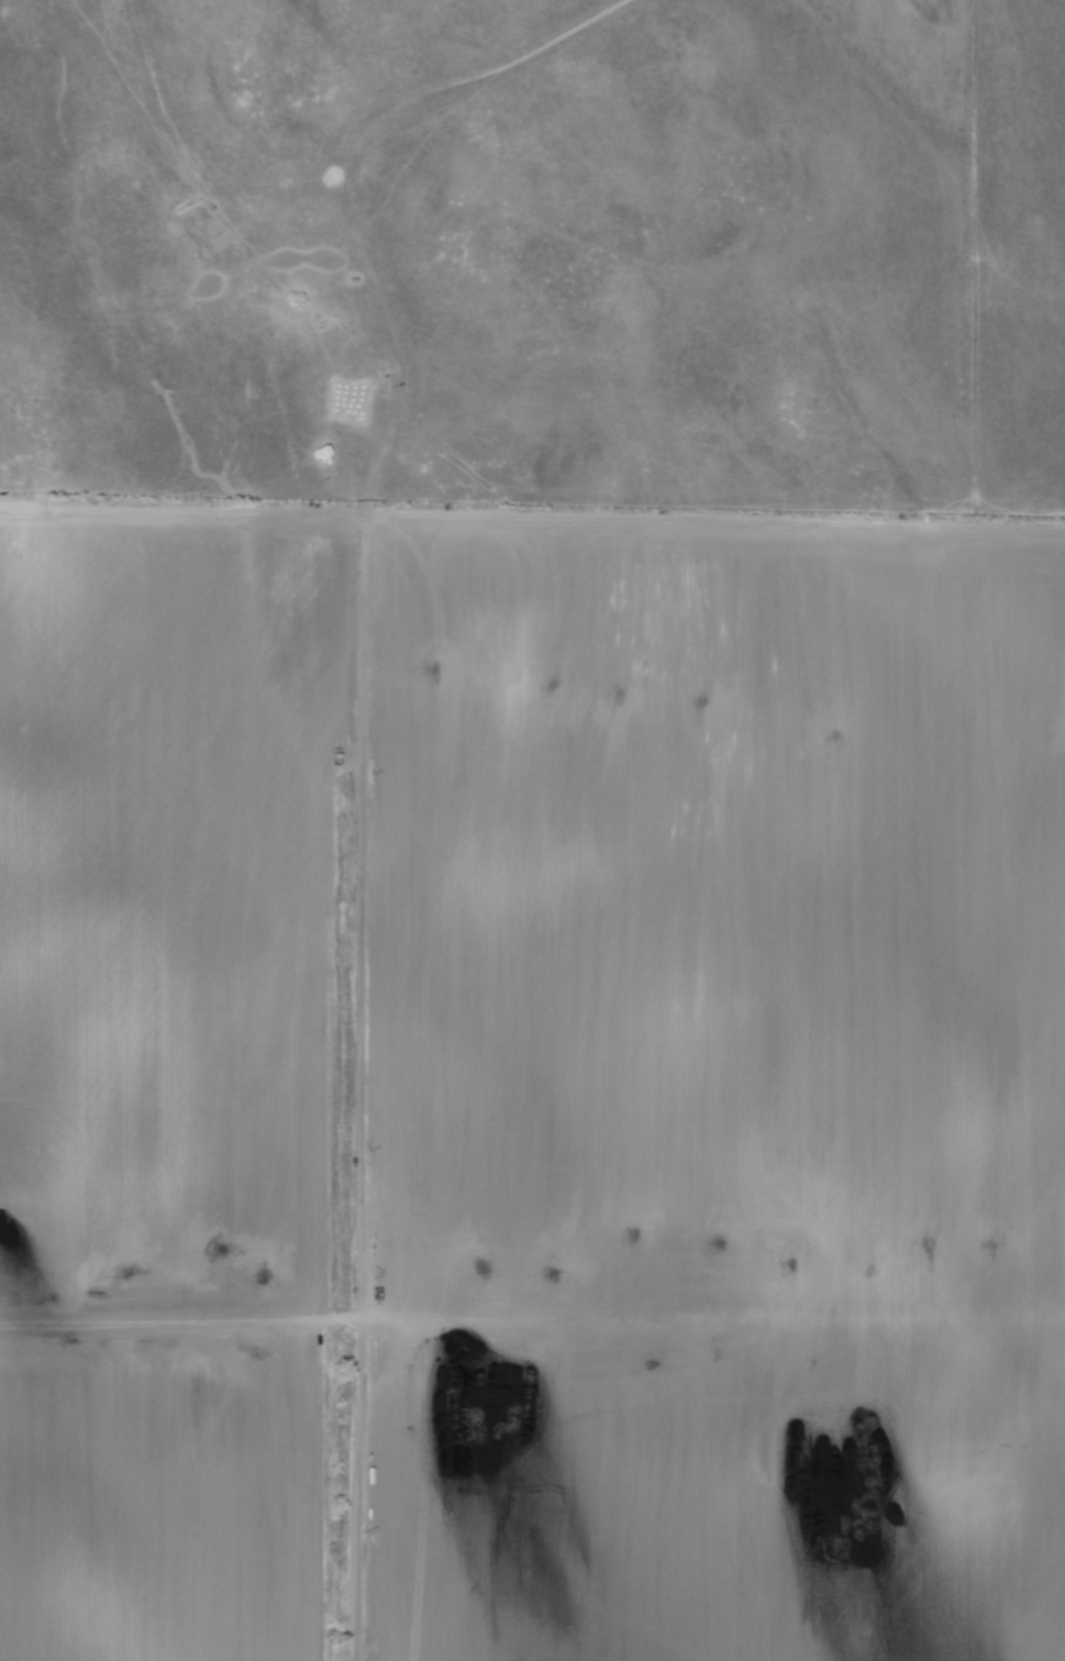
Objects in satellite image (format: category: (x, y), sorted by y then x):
road: (365, 1095)

